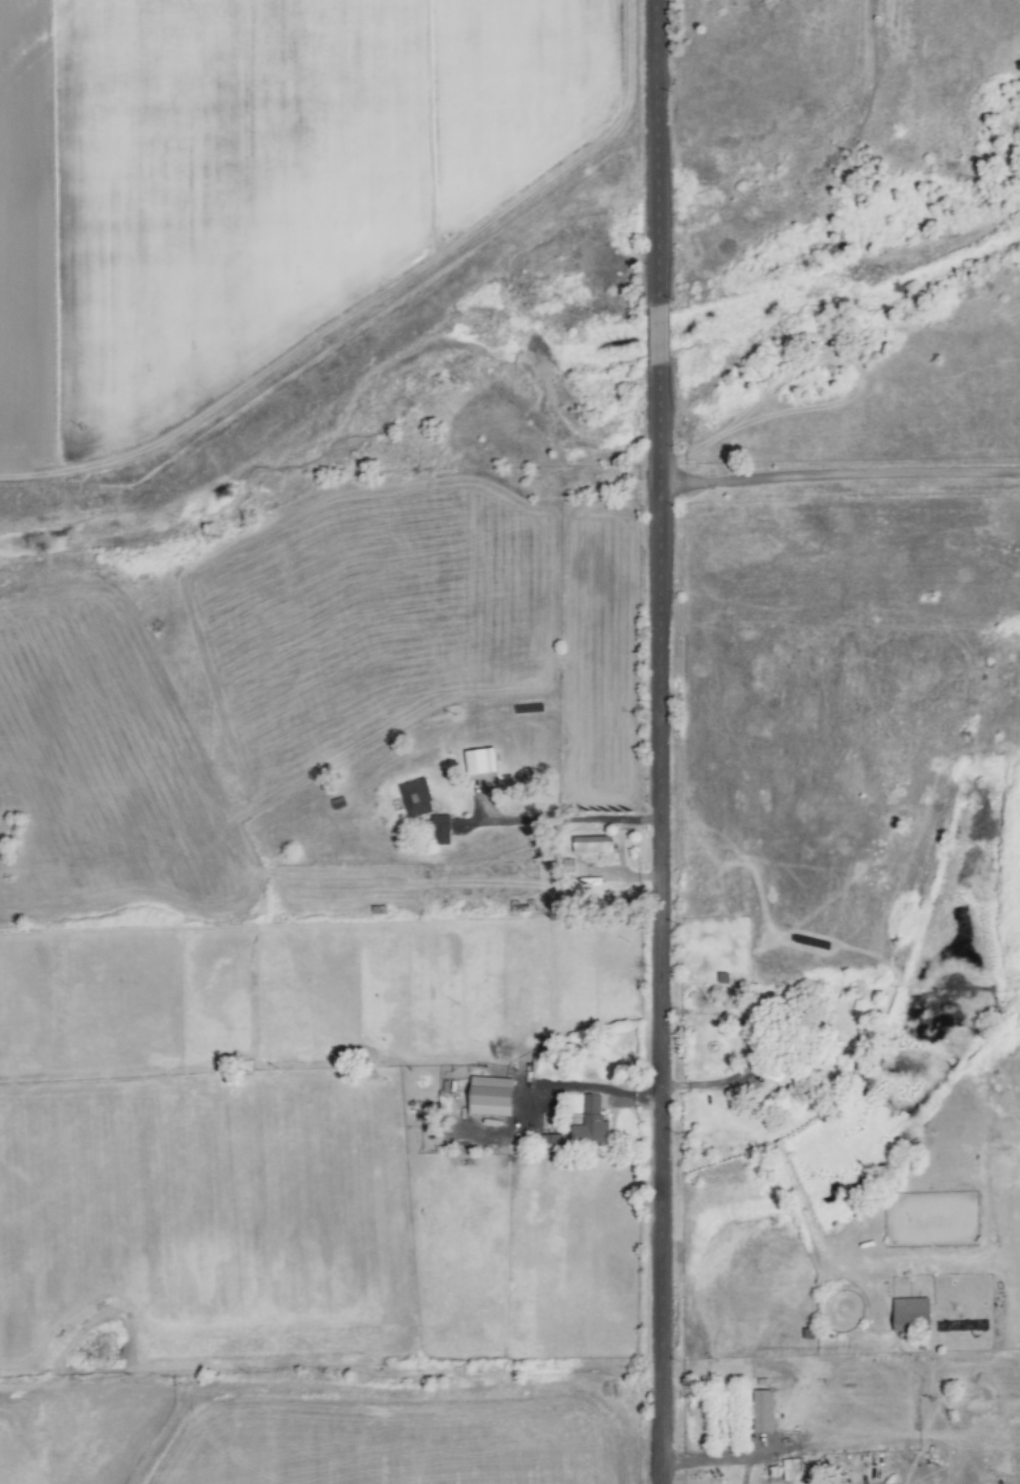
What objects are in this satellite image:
road: (328, 158)
road: (839, 476)
road: (660, 741)
building: (483, 761)
building: (418, 798)
building: (443, 833)
building: (595, 844)
road: (330, 851)
building: (494, 1096)
building: (594, 1124)
building: (912, 1313)
building: (765, 1411)
road: (715, 1460)
building: (791, 1470)

